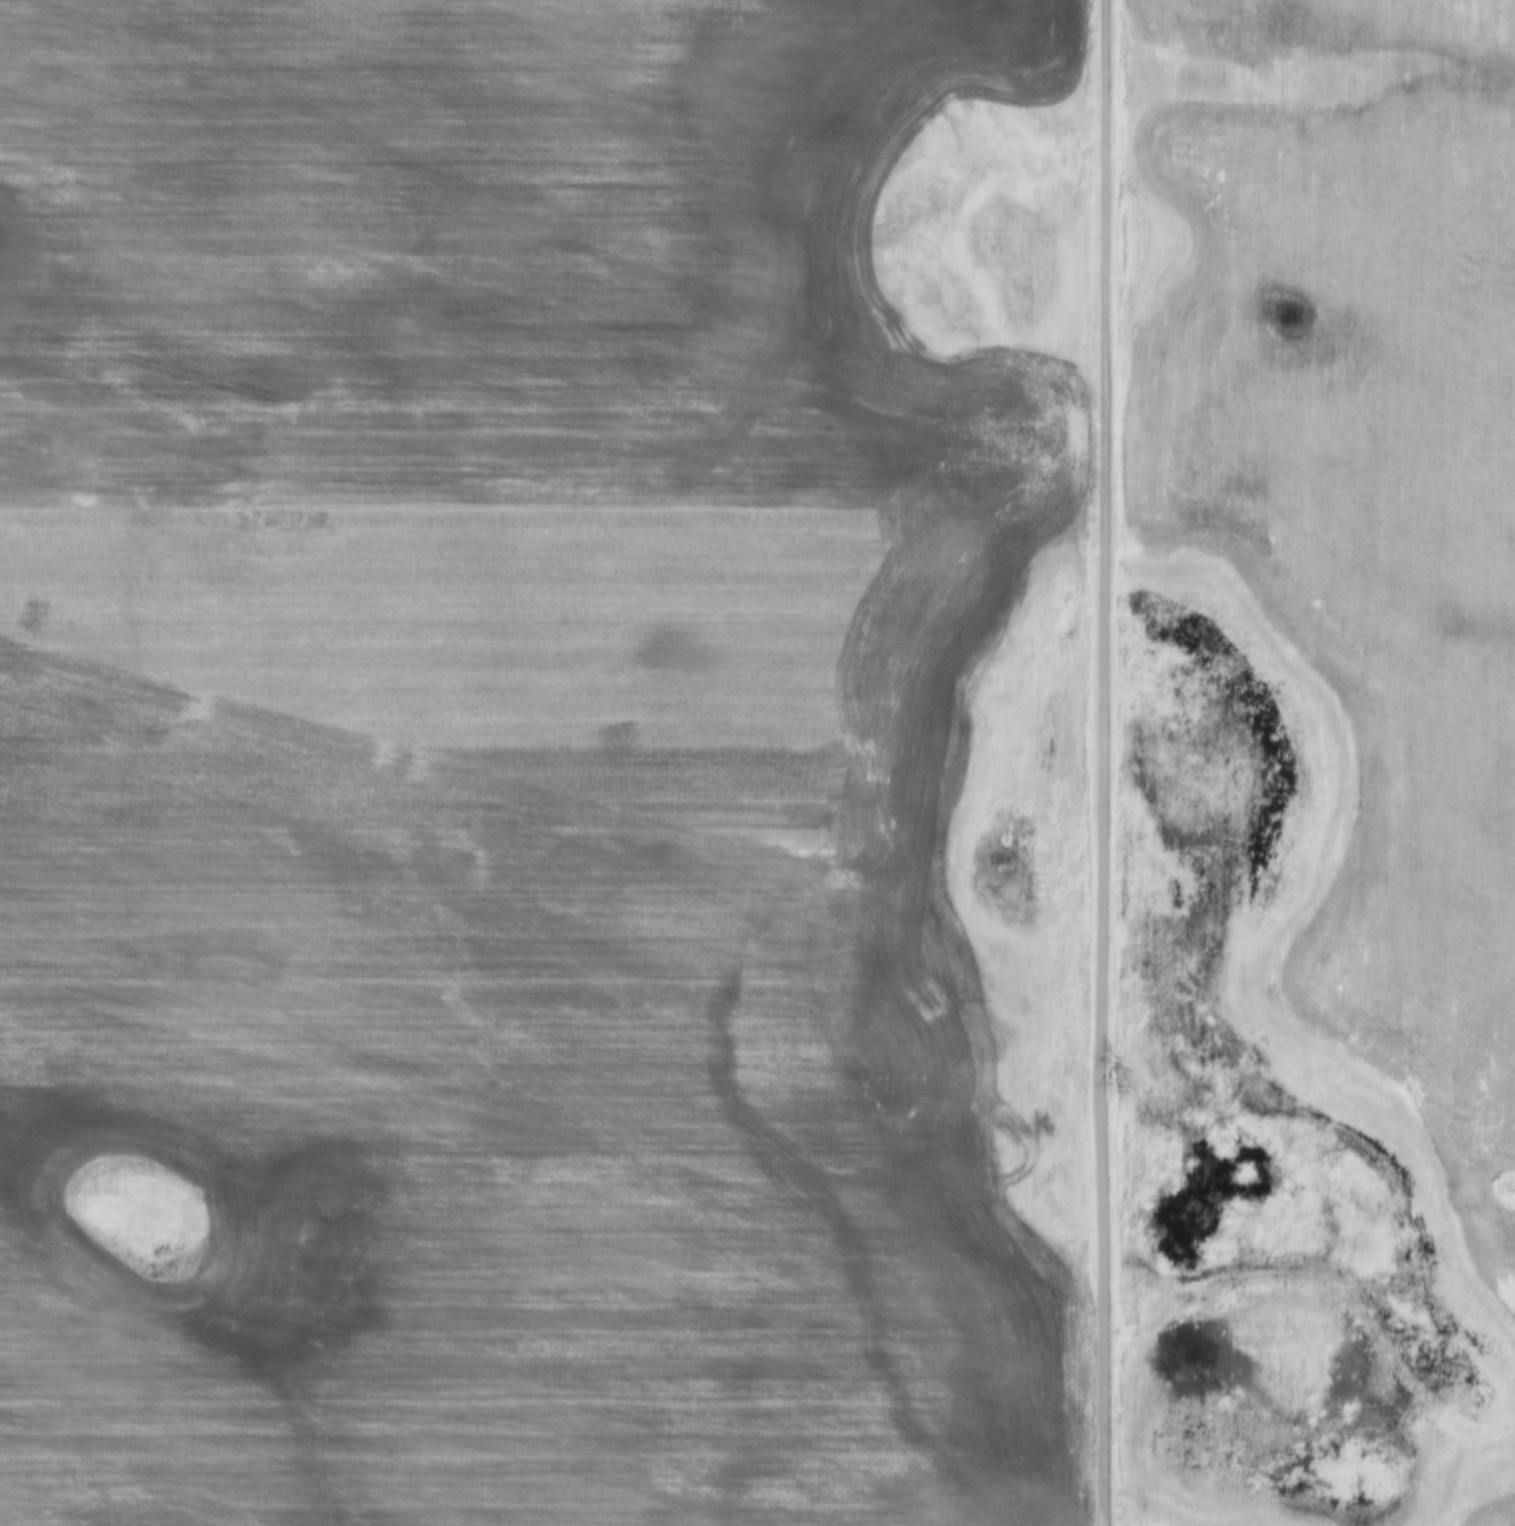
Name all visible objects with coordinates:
road: (1104, 763)

